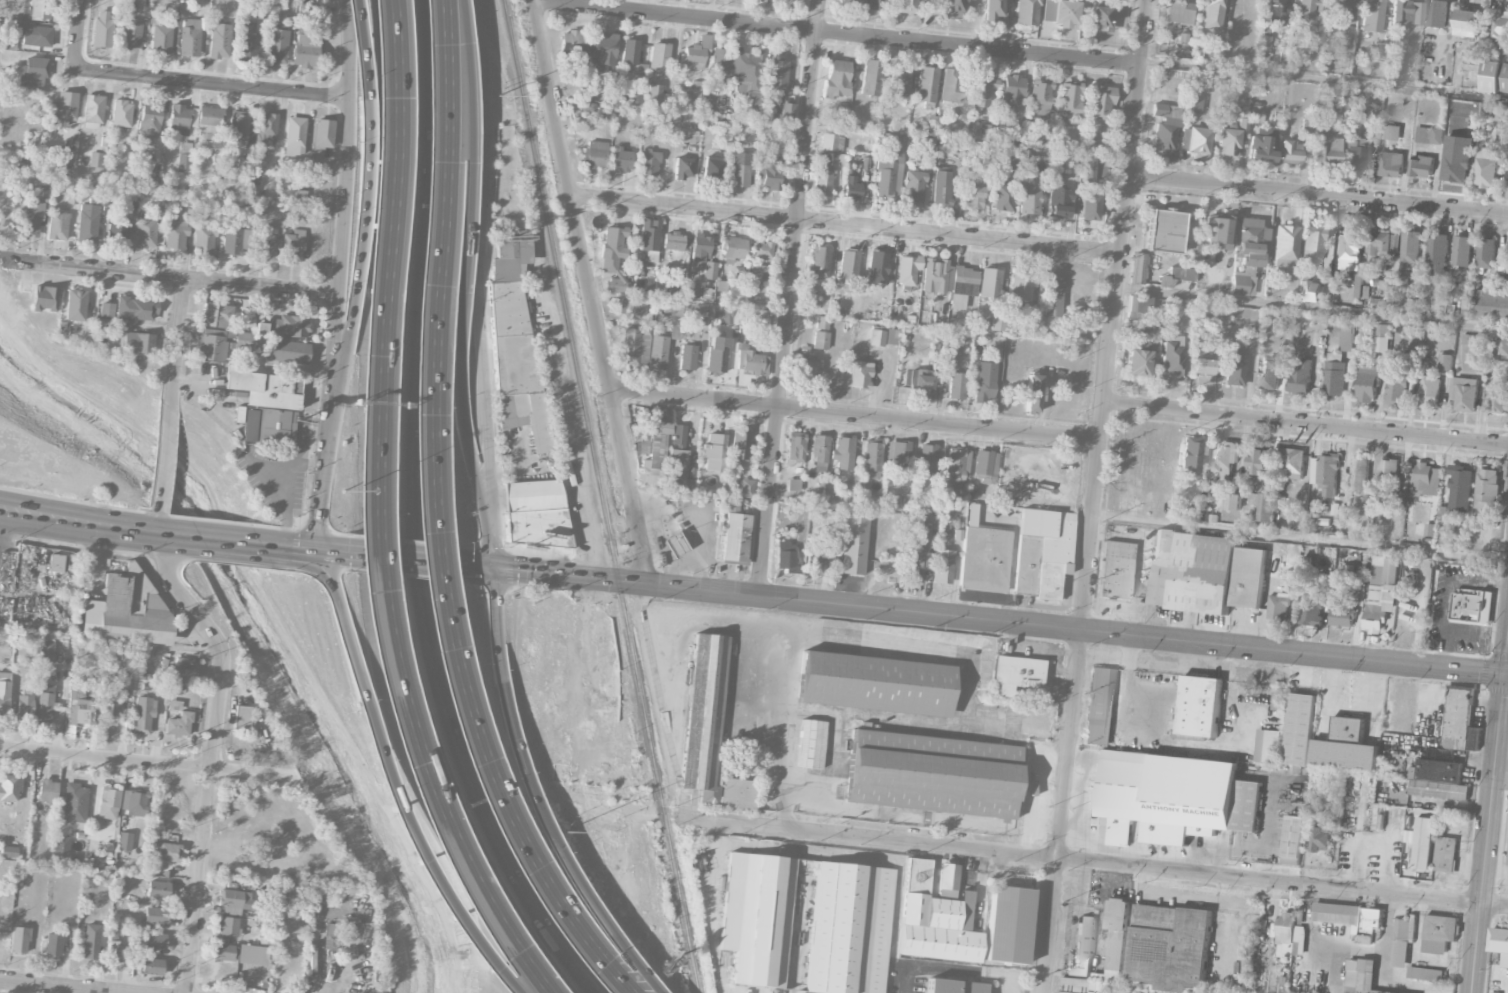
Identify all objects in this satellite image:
building: (847, 4)
building: (875, 5)
building: (904, 6)
building: (261, 8)
building: (950, 8)
building: (41, 9)
building: (1306, 9)
building: (1047, 10)
building: (993, 11)
building: (1277, 11)
building: (1026, 12)
building: (1179, 12)
building: (1340, 12)
building: (1407, 12)
building: (1065, 13)
building: (1439, 13)
building: (1212, 14)
building: (1372, 16)
building: (1100, 19)
building: (1467, 23)
building: (1500, 28)
building: (102, 29)
building: (34, 34)
building: (130, 34)
road: (836, 34)
road: (77, 35)
building: (189, 37)
building: (161, 39)
building: (1182, 39)
building: (248, 40)
building: (219, 41)
building: (1264, 43)
building: (277, 45)
building: (575, 46)
road: (364, 47)
building: (604, 49)
building: (306, 50)
building: (1379, 50)
building: (1211, 53)
building: (695, 55)
building: (632, 58)
building: (659, 59)
building: (1473, 63)
building: (1393, 67)
building: (32, 73)
building: (738, 73)
building: (777, 75)
building: (870, 77)
building: (1495, 77)
building: (836, 79)
building: (899, 80)
road: (1324, 81)
road: (213, 85)
building: (926, 86)
road: (434, 93)
road: (442, 93)
building: (1012, 93)
building: (637, 94)
building: (659, 97)
building: (1040, 97)
building: (1069, 100)
building: (1100, 103)
building: (1193, 103)
building: (62, 108)
building: (93, 112)
building: (785, 112)
building: (121, 113)
building: (179, 119)
building: (209, 122)
building: (148, 123)
building: (238, 126)
building: (1165, 126)
building: (1040, 129)
building: (266, 130)
building: (1390, 132)
building: (323, 134)
building: (1425, 135)
building: (294, 136)
building: (1466, 139)
building: (1195, 140)
building: (831, 142)
building: (1228, 144)
building: (1262, 145)
building: (1099, 147)
building: (1326, 147)
building: (1290, 151)
building: (596, 154)
building: (64, 155)
building: (184, 157)
building: (1357, 157)
building: (621, 159)
building: (837, 159)
building: (96, 160)
building: (649, 163)
building: (1390, 163)
building: (1422, 166)
building: (1455, 167)
building: (1486, 167)
building: (683, 168)
building: (713, 168)
building: (1095, 170)
building: (769, 174)
building: (739, 175)
road: (471, 177)
building: (888, 178)
building: (975, 181)
building: (822, 183)
road: (392, 184)
road: (410, 185)
building: (913, 186)
building: (941, 187)
building: (851, 189)
building: (1507, 189)
road: (1318, 194)
building: (92, 196)
building: (1000, 196)
building: (1030, 196)
building: (72, 197)
building: (972, 197)
building: (1059, 202)
building: (130, 203)
building: (1087, 207)
building: (30, 218)
building: (87, 223)
building: (58, 226)
road: (844, 226)
building: (117, 231)
building: (1165, 231)
building: (1218, 231)
building: (146, 233)
building: (649, 235)
building: (176, 236)
building: (203, 239)
building: (232, 241)
building: (673, 241)
building: (1251, 242)
building: (1381, 243)
building: (1285, 246)
building: (1312, 246)
building: (292, 247)
building: (733, 247)
building: (700, 250)
building: (761, 250)
building: (1461, 250)
building: (266, 251)
building: (1349, 252)
building: (1409, 252)
building: (1485, 253)
building: (613, 256)
building: (1436, 258)
building: (818, 263)
building: (848, 266)
building: (877, 267)
building: (1138, 268)
building: (907, 269)
building: (1182, 273)
road: (343, 275)
road: (360, 276)
building: (936, 276)
road: (171, 277)
building: (709, 277)
building: (1241, 281)
building: (1165, 282)
road: (479, 283)
building: (990, 284)
building: (721, 286)
building: (962, 286)
building: (1020, 287)
railway: (560, 290)
building: (508, 291)
road: (590, 291)
building: (1310, 291)
building: (1053, 296)
road: (790, 297)
building: (45, 298)
building: (76, 305)
building: (672, 307)
building: (1138, 308)
building: (136, 309)
road: (1312, 309)
building: (107, 310)
building: (727, 314)
building: (216, 315)
building: (246, 318)
building: (822, 323)
building: (997, 324)
building: (290, 326)
building: (891, 336)
building: (1347, 337)
building: (1381, 337)
building: (876, 338)
building: (242, 340)
building: (820, 340)
building: (138, 343)
road: (176, 345)
building: (635, 345)
building: (1500, 346)
building: (289, 352)
building: (658, 352)
building: (717, 354)
building: (1137, 354)
building: (1172, 356)
building: (688, 357)
building: (1445, 361)
building: (749, 364)
building: (805, 366)
building: (1202, 367)
building: (1234, 368)
building: (1270, 373)
road: (564, 375)
building: (860, 375)
building: (1300, 375)
building: (1334, 375)
building: (984, 382)
building: (1367, 384)
building: (956, 386)
building: (264, 388)
building: (1397, 389)
building: (1429, 391)
building: (1032, 392)
building: (1466, 394)
building: (1498, 397)
road: (856, 416)
building: (524, 420)
building: (275, 425)
road: (1306, 425)
building: (678, 435)
building: (739, 445)
road: (471, 446)
building: (795, 447)
building: (1125, 448)
building: (713, 452)
building: (819, 452)
building: (843, 452)
building: (653, 454)
building: (1190, 457)
building: (872, 459)
building: (1225, 459)
road: (162, 460)
building: (926, 460)
building: (898, 461)
building: (1258, 461)
building: (984, 463)
building: (1291, 463)
building: (955, 466)
building: (678, 467)
building: (1325, 473)
building: (1359, 473)
building: (1389, 473)
building: (1425, 479)
building: (1130, 483)
building: (793, 485)
building: (1487, 485)
building: (744, 488)
road: (289, 489)
building: (1459, 489)
road: (1096, 496)
building: (1233, 501)
building: (1201, 502)
building: (1128, 503)
building: (1266, 507)
road: (377, 514)
building: (536, 514)
road: (429, 519)
road: (155, 521)
road: (90, 523)
building: (735, 538)
road: (1300, 538)
building: (919, 540)
road: (236, 543)
building: (674, 545)
building: (852, 545)
road: (318, 550)
traffic signals: (319, 551)
building: (1041, 552)
building: (786, 556)
building: (982, 557)
road: (407, 560)
building: (815, 562)
building: (1306, 562)
building: (56, 563)
building: (1276, 564)
road: (481, 567)
building: (940, 567)
traffic signals: (494, 568)
building: (1116, 569)
building: (6, 571)
building: (1192, 571)
building: (1248, 577)
road: (1454, 580)
building: (1380, 591)
road: (182, 601)
building: (1311, 606)
building: (1278, 607)
building: (1468, 607)
road: (426, 609)
building: (1340, 610)
building: (127, 611)
road: (696, 621)
road: (1001, 621)
road: (346, 625)
road: (1452, 625)
road: (496, 629)
road: (110, 643)
building: (65, 650)
road: (1041, 651)
building: (47, 652)
road: (1067, 652)
building: (183, 671)
building: (1015, 674)
traffic signals: (1503, 675)
road: (1128, 680)
building: (876, 684)
building: (126, 685)
building: (176, 690)
road: (669, 690)
building: (4, 692)
road: (421, 698)
building: (1278, 700)
building: (44, 703)
building: (24, 705)
building: (174, 705)
building: (1100, 706)
building: (1200, 706)
building: (79, 707)
road: (1352, 707)
road: (783, 713)
building: (108, 714)
building: (143, 714)
building: (241, 717)
building: (704, 717)
building: (1460, 721)
building: (179, 725)
building: (1299, 729)
road: (513, 732)
building: (811, 744)
building: (1267, 745)
building: (1346, 746)
road: (148, 763)
building: (933, 774)
building: (1438, 779)
railway: (657, 787)
building: (48, 791)
building: (737, 793)
building: (9, 796)
building: (1174, 797)
building: (134, 802)
building: (108, 804)
building: (75, 805)
road: (1488, 811)
road: (203, 824)
road: (758, 836)
building: (1320, 839)
building: (1292, 840)
road: (1375, 840)
road: (804, 841)
building: (124, 842)
building: (1425, 843)
building: (61, 846)
building: (8, 851)
building: (166, 852)
road: (809, 853)
building: (1446, 854)
road: (420, 858)
road: (1090, 863)
building: (947, 880)
road: (580, 889)
building: (157, 890)
building: (235, 899)
road: (713, 908)
building: (231, 911)
building: (155, 916)
building: (756, 917)
building: (1351, 917)
building: (934, 920)
building: (1008, 925)
building: (227, 926)
building: (849, 928)
building: (1285, 928)
building: (331, 930)
building: (1439, 933)
building: (1118, 935)
building: (19, 940)
building: (1300, 940)
building: (90, 942)
building: (154, 942)
building: (1401, 942)
building: (329, 943)
building: (1500, 944)
building: (53, 945)
building: (1084, 946)
building: (1171, 946)
road: (1349, 946)
building: (116, 951)
building: (223, 952)
building: (252, 955)
building: (151, 966)
road: (1382, 971)
building: (1425, 973)
building: (1361, 976)
road: (67, 985)
building: (954, 987)
road: (1012, 992)
building: (1196, 992)

